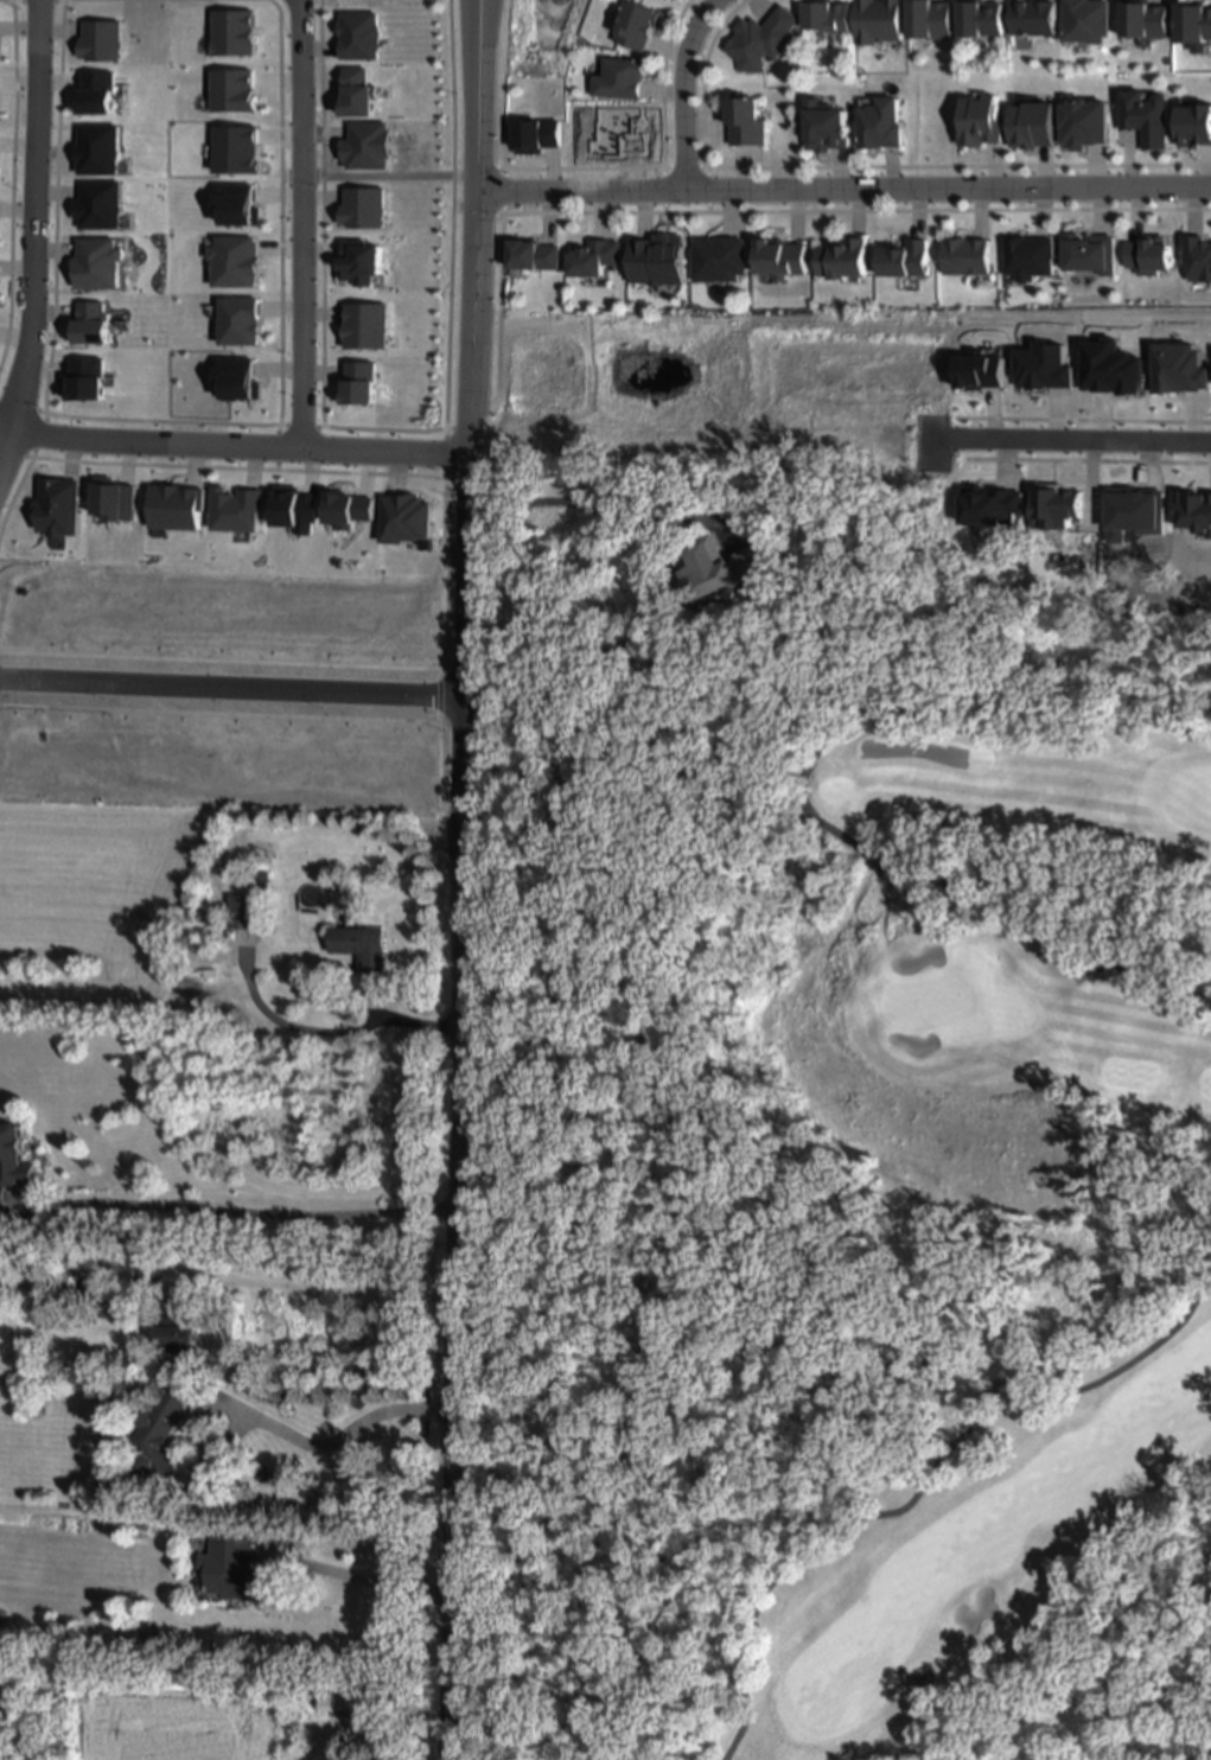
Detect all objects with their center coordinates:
building: (827, 17)
building: (930, 19)
building: (981, 19)
building: (1033, 19)
building: (879, 21)
building: (635, 26)
building: (760, 42)
building: (617, 81)
road: (680, 90)
road: (700, 97)
road: (658, 103)
building: (1146, 116)
building: (981, 120)
building: (744, 121)
building: (1084, 122)
building: (878, 123)
building: (1032, 125)
building: (1196, 126)
building: (826, 127)
road: (842, 168)
road: (377, 174)
road: (842, 190)
road: (499, 195)
road: (829, 212)
road: (300, 223)
road: (34, 232)
building: (1089, 253)
building: (1146, 254)
building: (1027, 256)
building: (1196, 256)
building: (964, 259)
building: (903, 261)
road: (474, 262)
building: (592, 262)
building: (831, 262)
building: (714, 263)
road: (447, 285)
building: (1109, 366)
road: (1082, 444)
road: (232, 445)
road: (593, 510)
building: (1207, 522)
building: (721, 567)
road: (231, 685)
road: (797, 792)
building: (242, 911)
building: (362, 944)
road: (319, 1031)
road: (454, 1142)
building: (14, 1155)
park: (836, 1182)
road: (241, 1211)
road: (329, 1289)
building: (179, 1327)
road: (231, 1403)
building: (158, 1435)
road: (919, 1484)
building: (234, 1569)
road: (359, 1575)
road: (1126, 1685)
building: (343, 1695)

